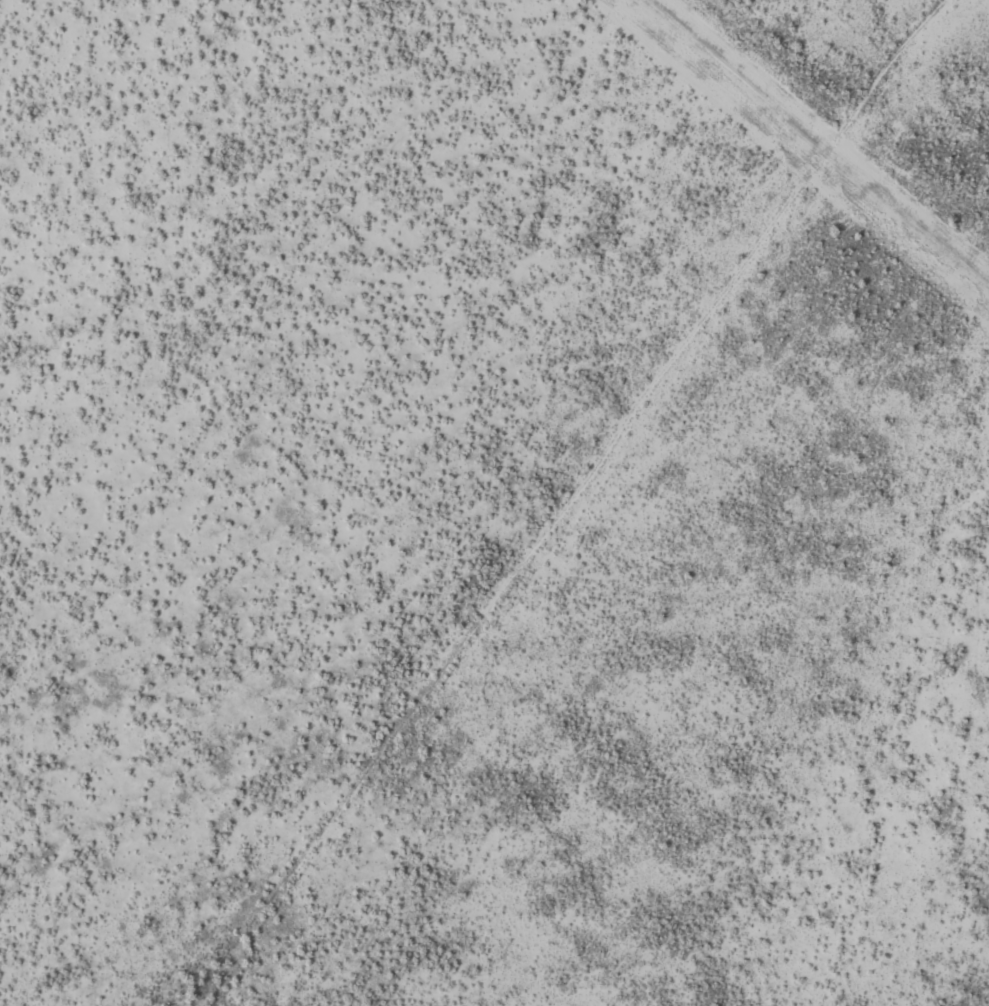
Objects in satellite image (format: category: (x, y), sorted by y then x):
road: (840, 166)

